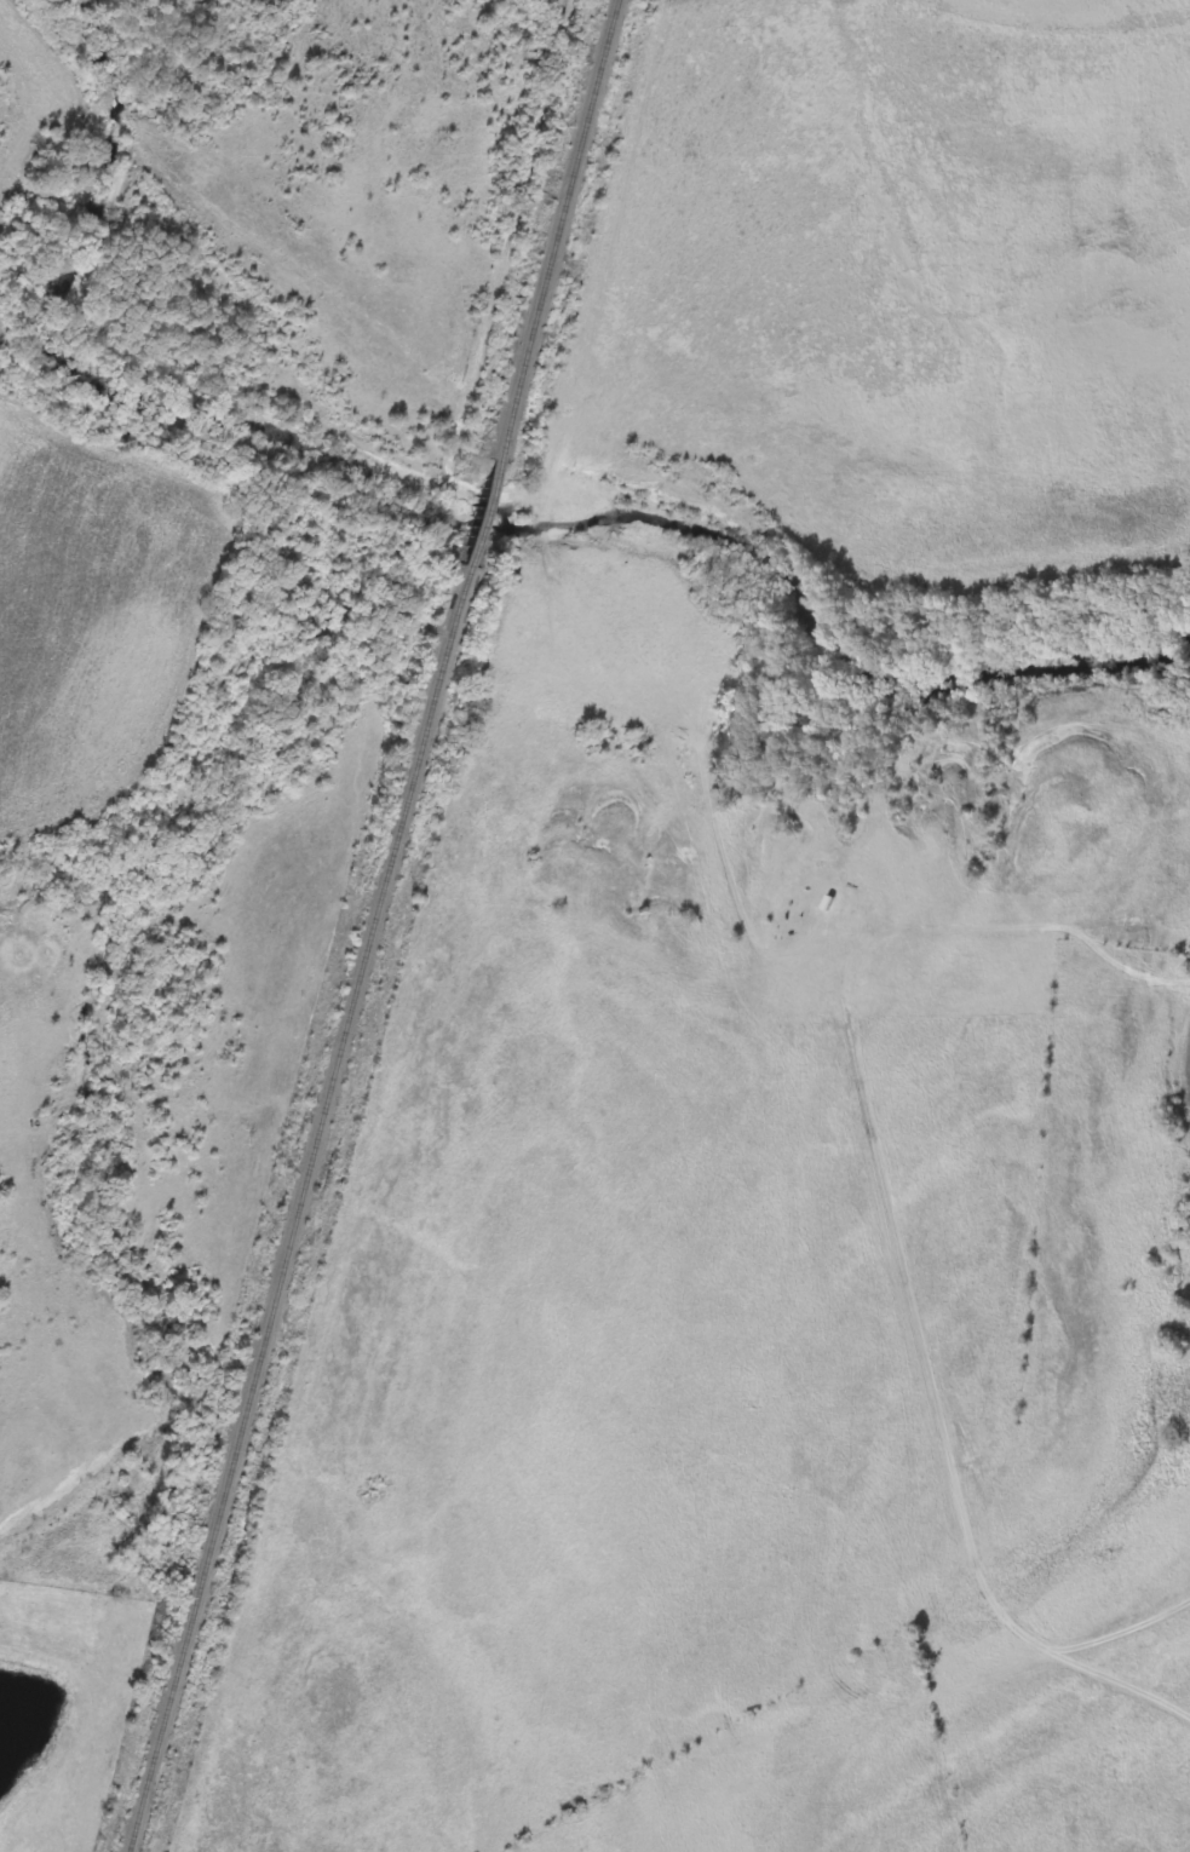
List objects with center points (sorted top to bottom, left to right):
railway: (559, 231)
railway: (482, 516)
railway: (299, 1209)

